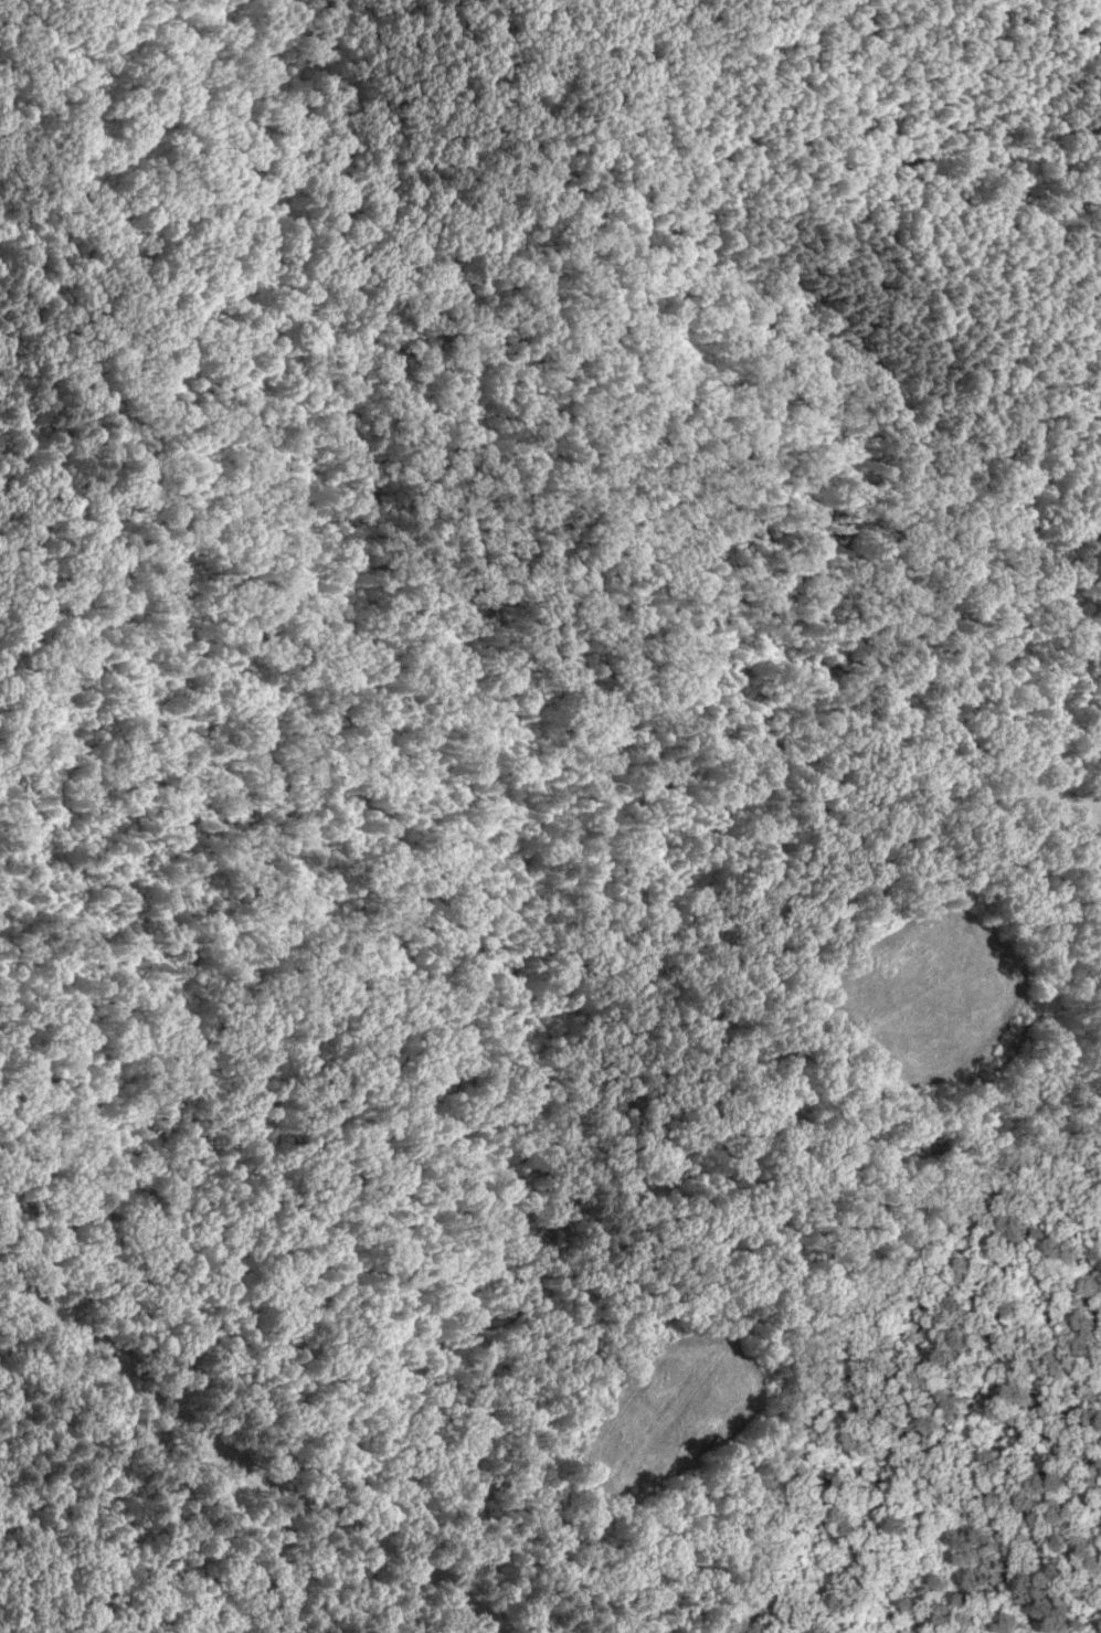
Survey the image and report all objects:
road: (234, 1470)

